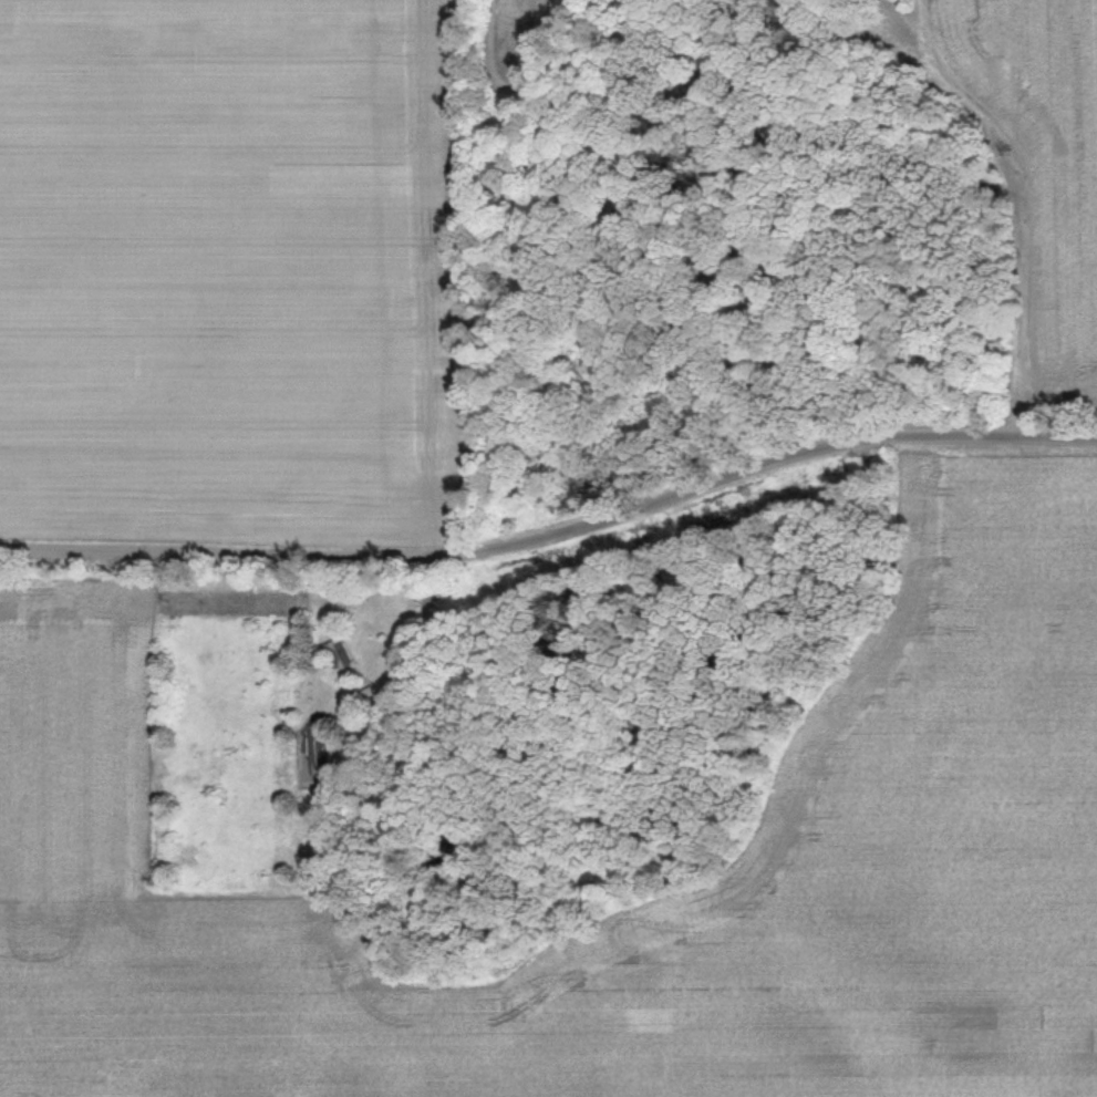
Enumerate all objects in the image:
crop: (230, 2)
crop: (516, 44)
crop: (1039, 167)
crop: (229, 283)
road: (791, 449)
road: (249, 551)
building: (339, 665)
building: (368, 697)
crop: (942, 758)

